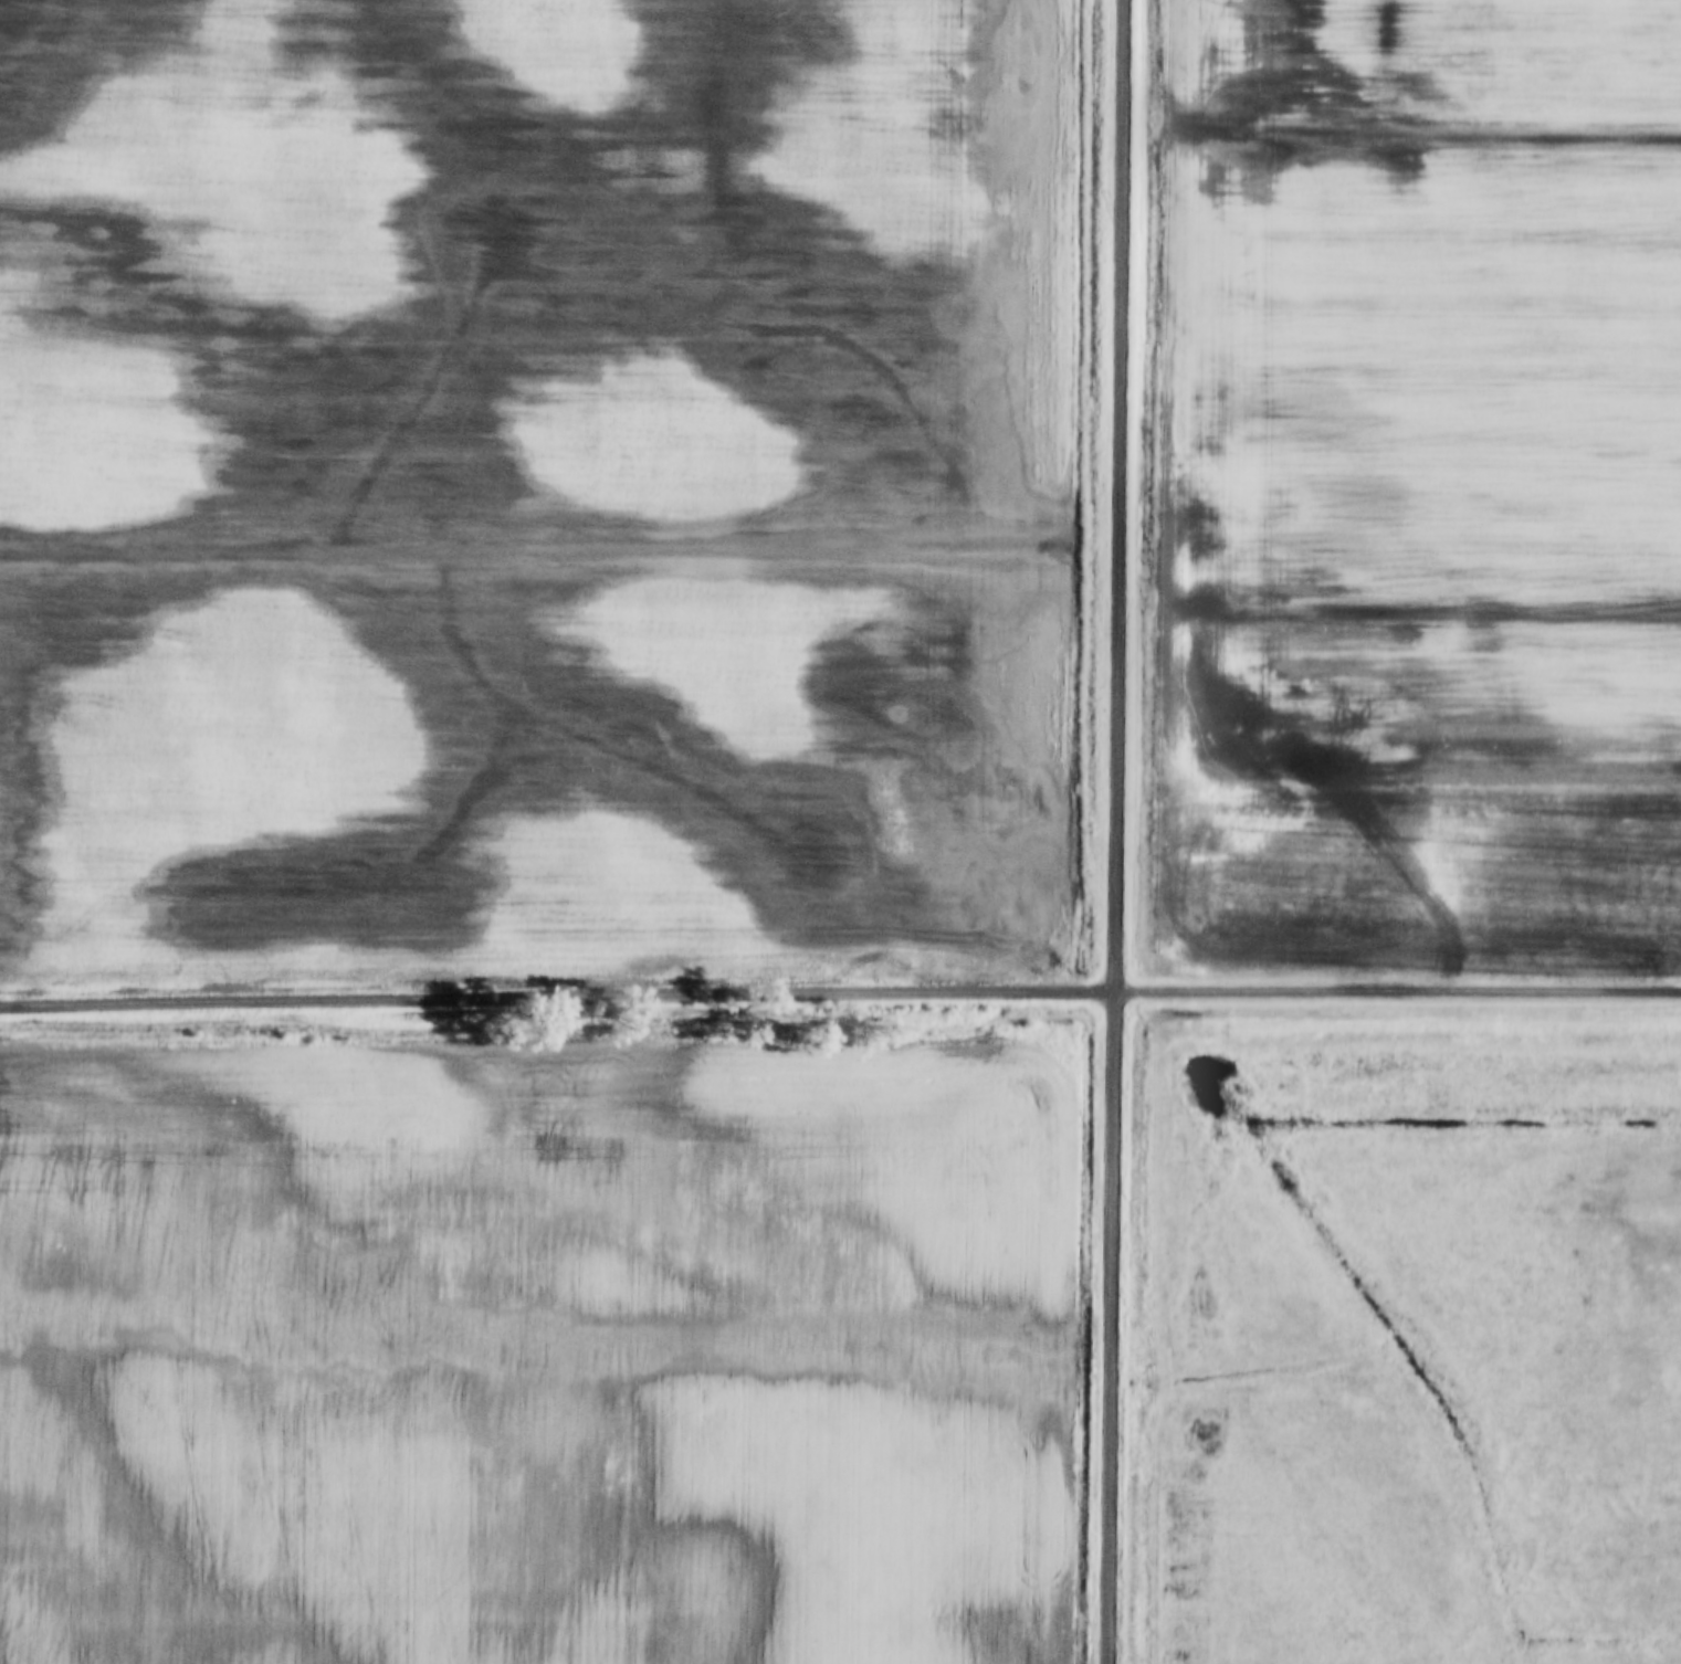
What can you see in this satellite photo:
road: (1121, 832)
road: (840, 991)

